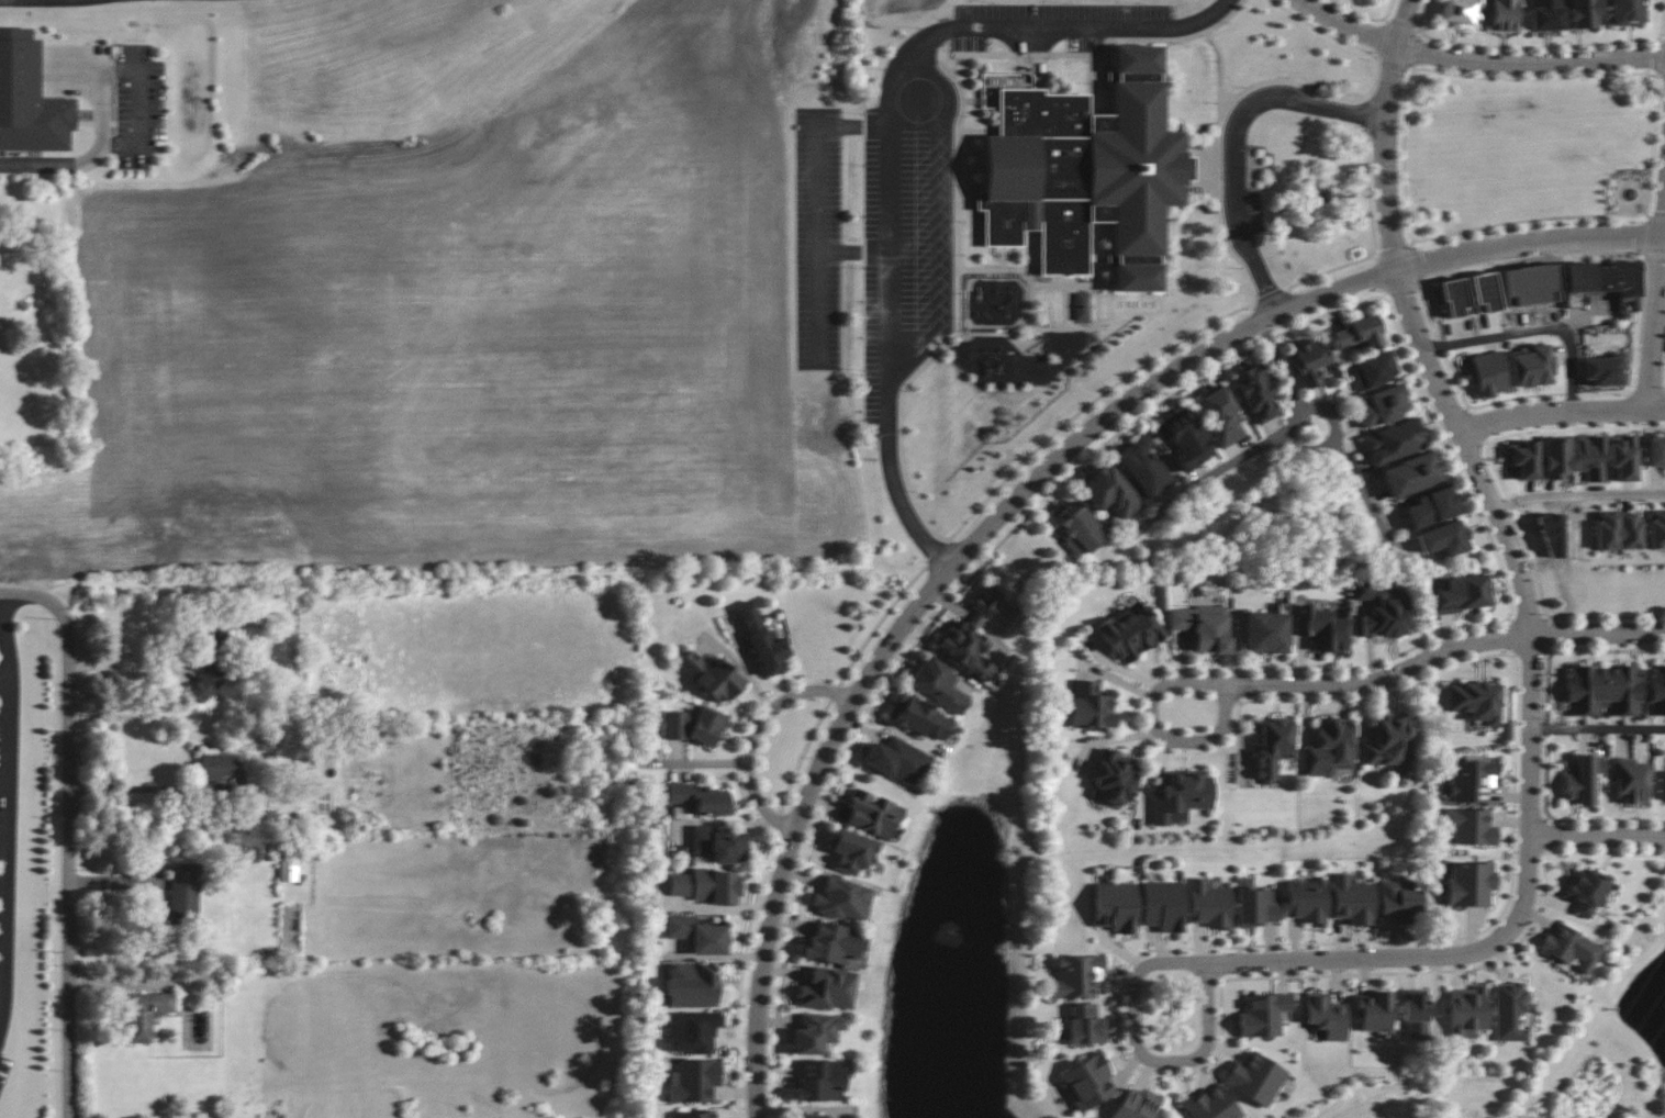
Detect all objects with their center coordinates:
building: (1461, 12)
building: (1627, 12)
building: (1583, 13)
building: (1546, 14)
building: (1505, 15)
road: (1479, 62)
road: (137, 70)
road: (1220, 76)
building: (29, 99)
road: (1238, 139)
road: (894, 148)
road: (54, 164)
building: (1086, 172)
road: (817, 204)
road: (936, 215)
road: (854, 253)
building: (1605, 279)
building: (1485, 292)
building: (1453, 297)
building: (1081, 306)
road: (1534, 331)
building: (1356, 333)
road: (1657, 336)
building: (1308, 361)
road: (1281, 365)
building: (1531, 366)
building: (1374, 368)
building: (1488, 373)
building: (1255, 392)
building: (1383, 405)
road: (1295, 412)
road: (1561, 412)
building: (1222, 417)
building: (1185, 439)
building: (1393, 440)
building: (1654, 450)
building: (1555, 457)
building: (1590, 457)
building: (1622, 457)
building: (1523, 459)
building: (1143, 467)
road: (1472, 467)
building: (1410, 474)
road: (1359, 484)
road: (1192, 489)
road: (1028, 490)
building: (1108, 491)
road: (1579, 494)
building: (1429, 507)
building: (1077, 526)
building: (1656, 529)
building: (1617, 530)
building: (1444, 538)
road: (29, 593)
building: (1461, 594)
building: (1382, 611)
building: (1202, 626)
building: (1321, 628)
building: (1129, 633)
building: (1266, 633)
road: (1600, 634)
building: (971, 636)
building: (762, 640)
road: (125, 662)
building: (711, 677)
building: (206, 678)
building: (938, 684)
road: (1270, 684)
building: (1603, 691)
building: (1656, 691)
building: (1475, 701)
building: (1089, 706)
building: (919, 717)
building: (675, 725)
building: (706, 726)
road: (1600, 728)
road: (756, 736)
building: (1389, 741)
building: (1273, 747)
building: (1330, 748)
building: (896, 760)
building: (221, 769)
building: (1115, 778)
building: (1472, 780)
building: (1583, 780)
building: (1630, 780)
road: (132, 786)
building: (1181, 796)
building: (697, 798)
building: (872, 814)
road: (4, 815)
building: (1470, 826)
road: (1599, 836)
building: (719, 843)
building: (851, 851)
road: (70, 858)
building: (293, 862)
building: (1471, 883)
building: (706, 885)
building: (183, 888)
road: (1, 890)
building: (1587, 891)
building: (842, 899)
building: (1399, 899)
building: (1307, 901)
building: (1353, 901)
building: (1163, 905)
building: (1209, 905)
building: (1255, 905)
building: (1115, 906)
building: (699, 933)
road: (1, 943)
building: (832, 943)
building: (1572, 948)
road: (1207, 964)
building: (1075, 976)
building: (693, 984)
building: (828, 988)
building: (1415, 1005)
building: (1374, 1011)
building: (1467, 1011)
building: (1510, 1011)
building: (146, 1014)
building: (1263, 1014)
building: (1326, 1016)
building: (1085, 1025)
building: (692, 1031)
building: (817, 1032)
building: (1255, 1078)
building: (693, 1081)
building: (820, 1081)
building: (1087, 1083)
building: (1136, 1105)
building: (1211, 1105)
building: (692, 1115)
building: (812, 1116)

